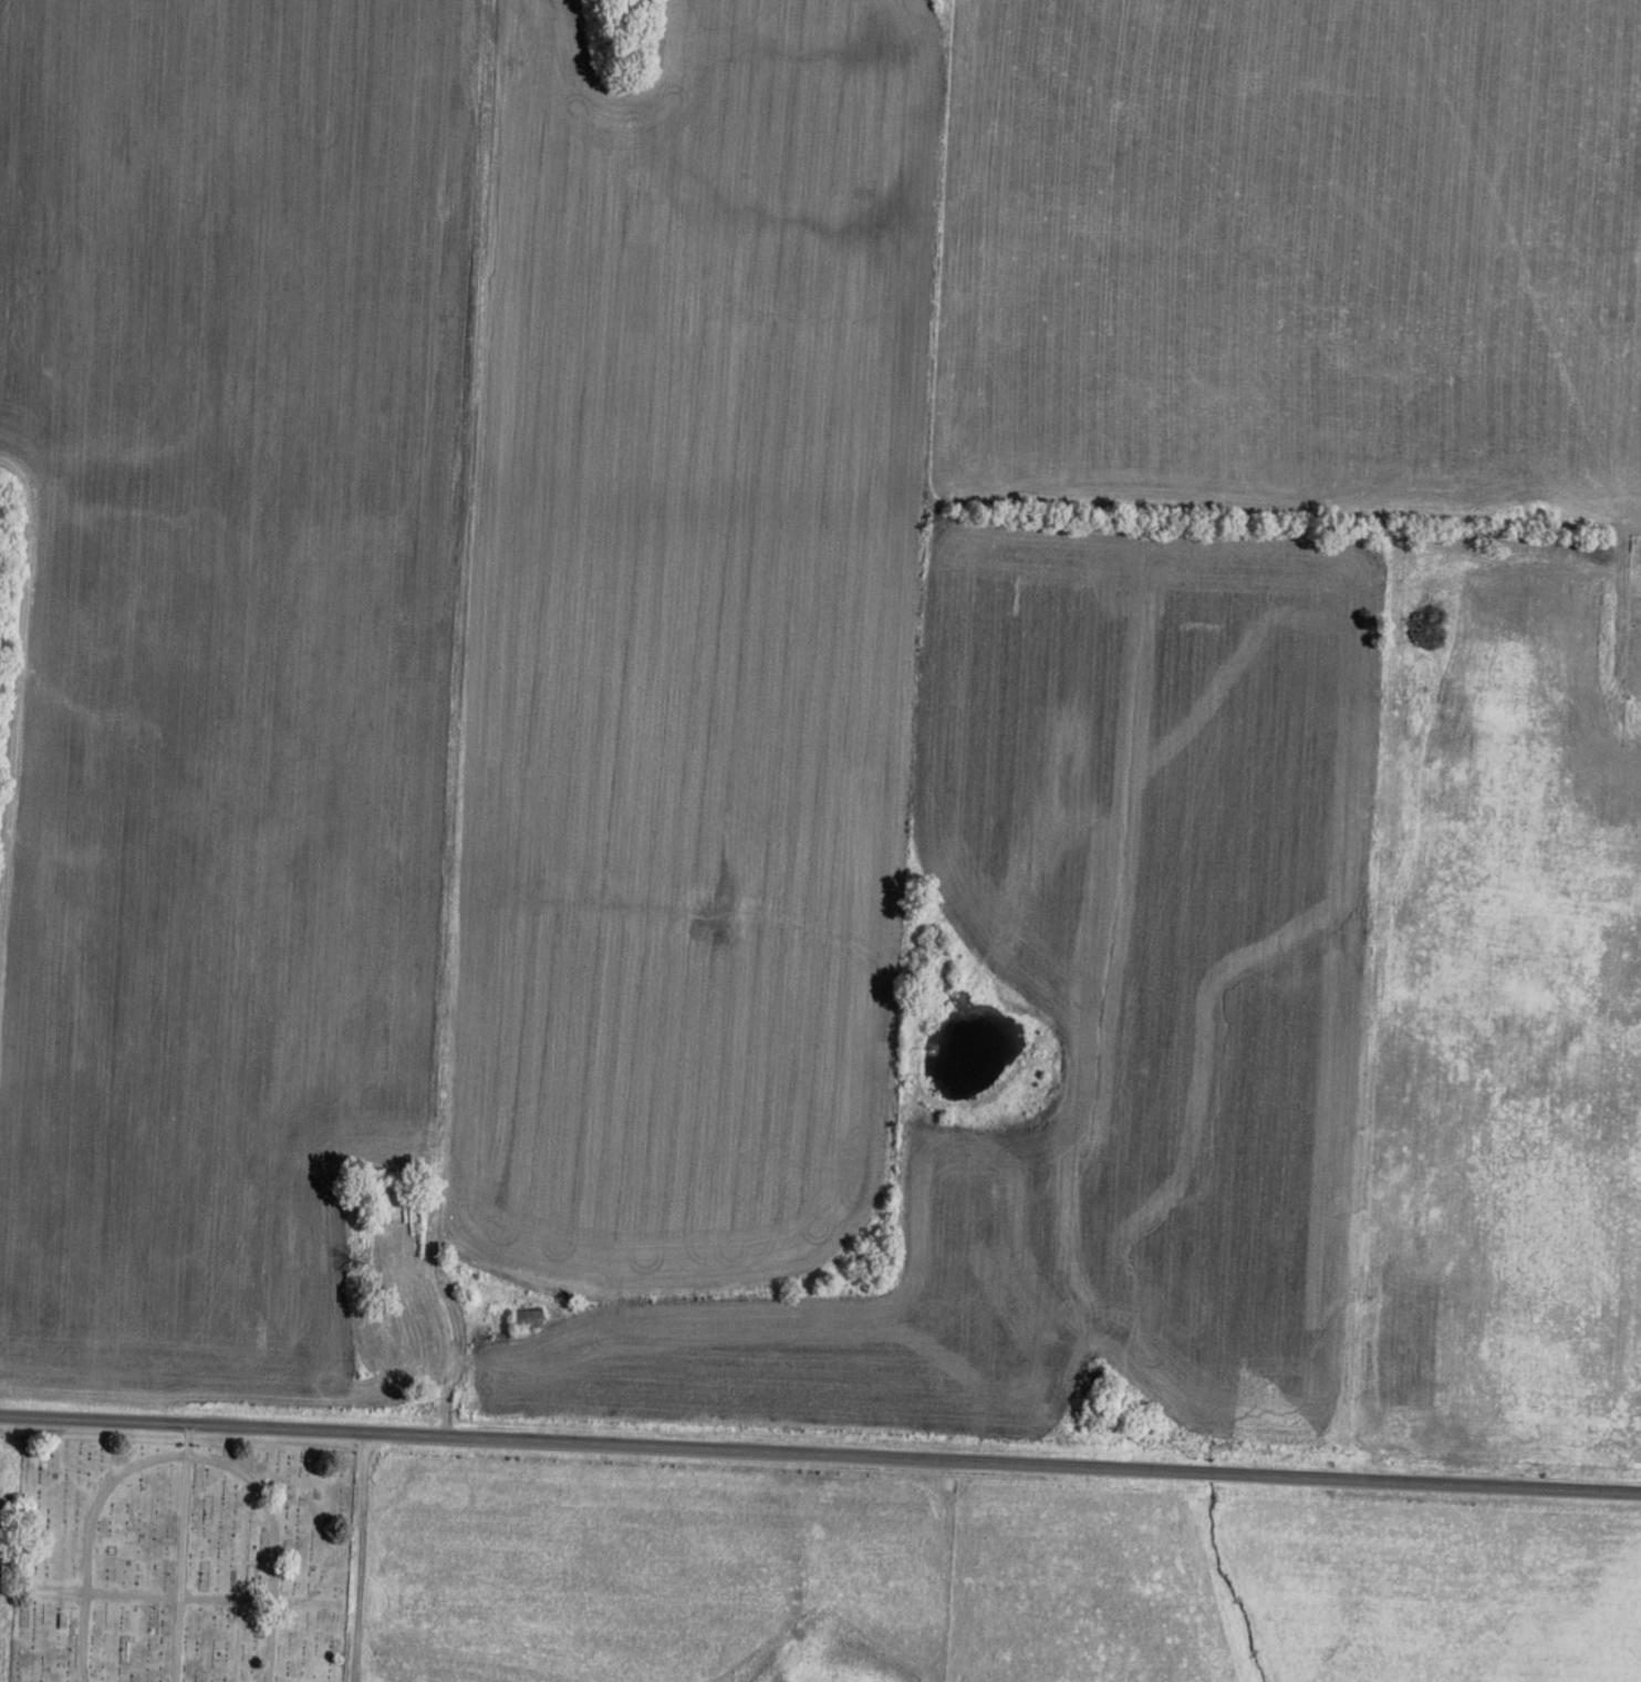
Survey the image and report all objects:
road: (844, 1323)
road: (180, 1454)
road: (820, 1454)
road: (181, 1553)
road: (360, 1558)
park: (175, 1560)
road: (150, 1596)

